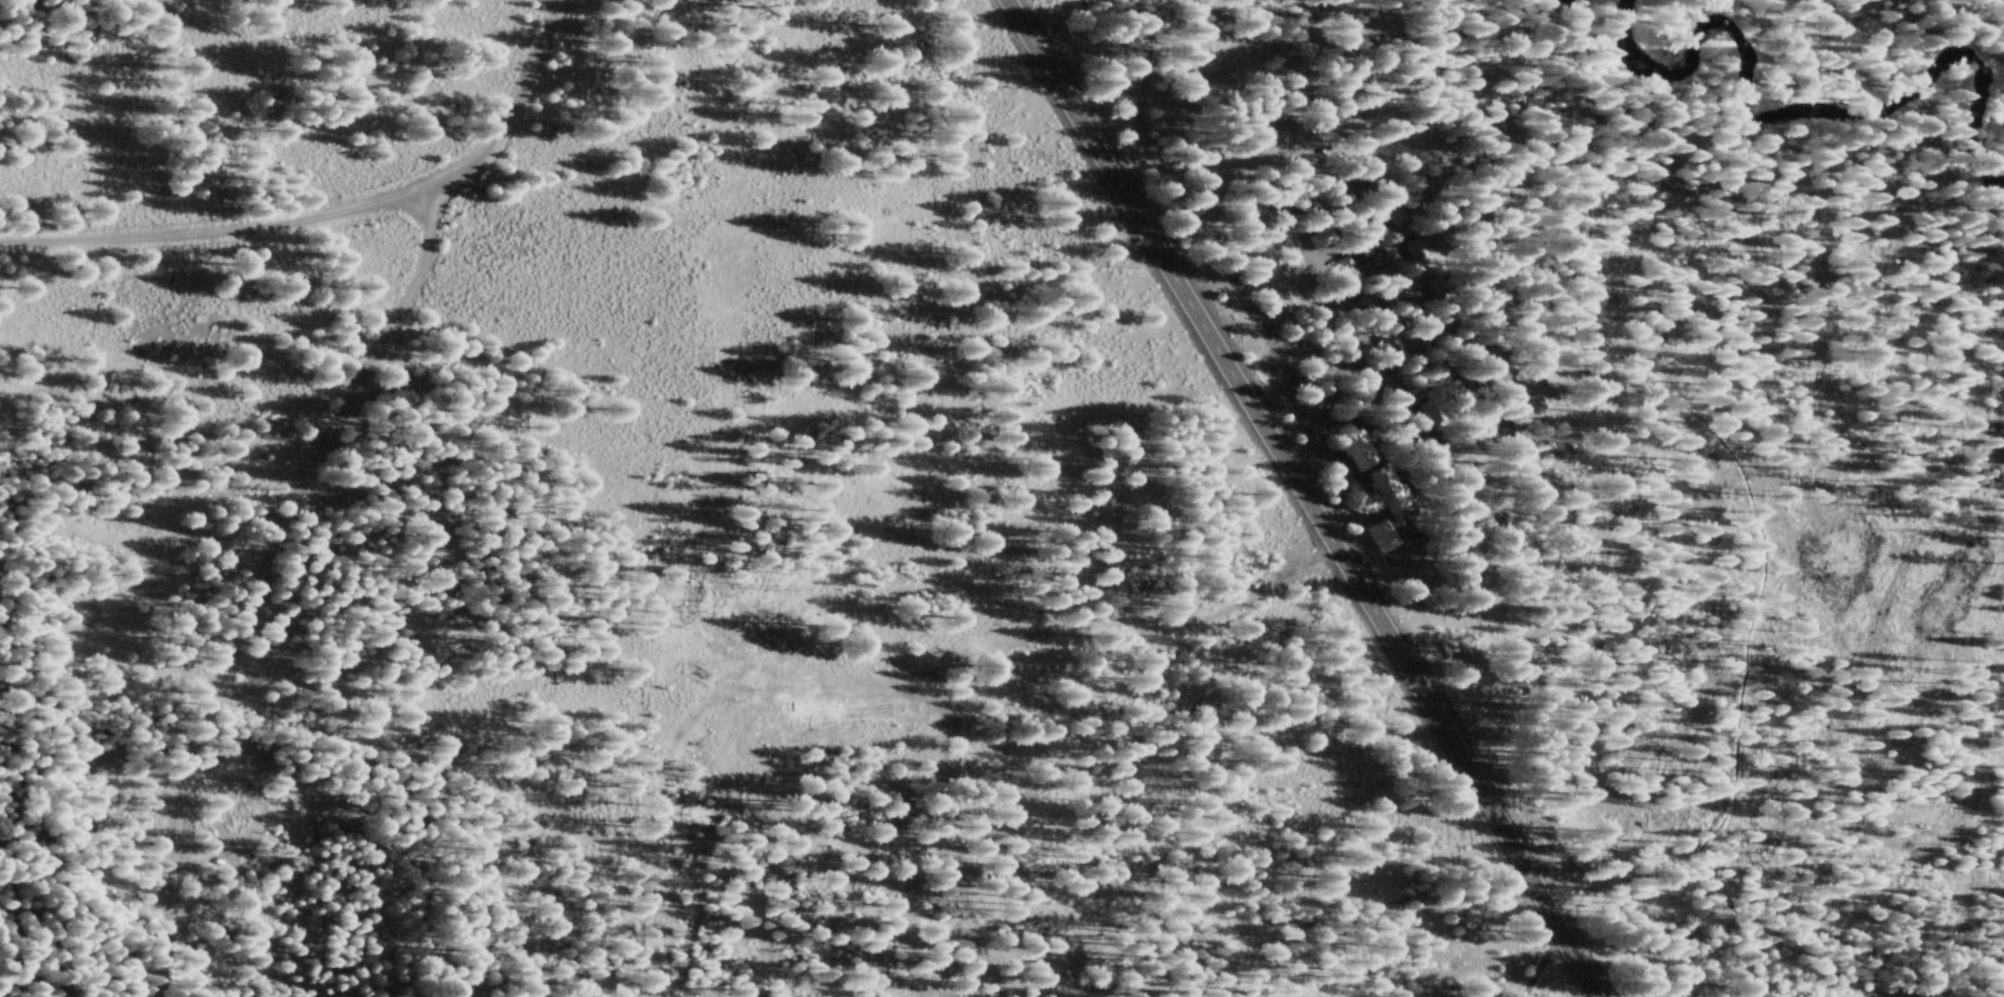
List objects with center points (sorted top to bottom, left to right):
road: (215, 230)
building: (1285, 398)
building: (1356, 449)
road: (292, 467)
road: (1301, 495)
building: (1385, 507)

